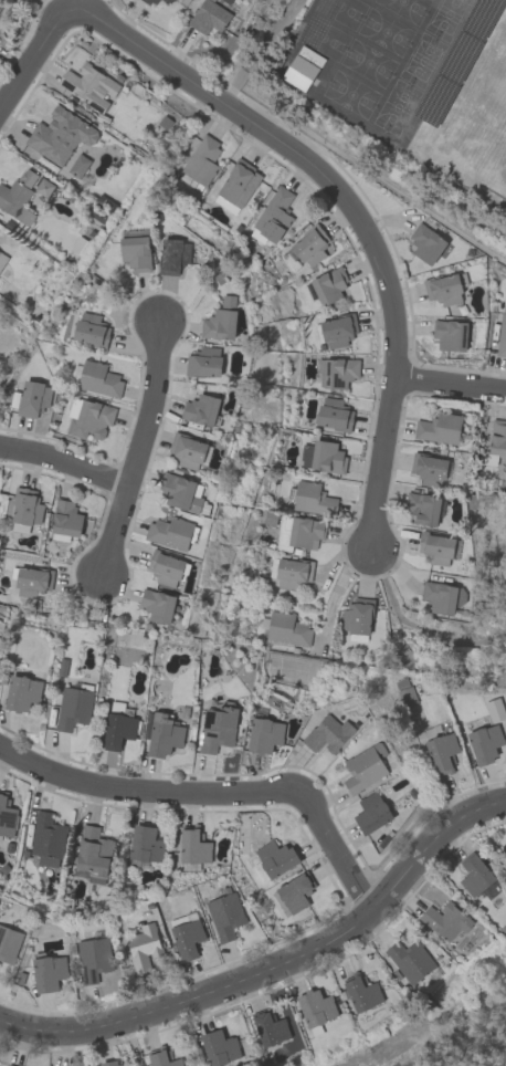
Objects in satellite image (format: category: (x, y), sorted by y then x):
building: (168, 0)
building: (150, 1)
building: (1, 3)
building: (209, 17)
road: (259, 48)
road: (33, 55)
building: (299, 72)
building: (89, 86)
building: (60, 135)
building: (201, 159)
building: (78, 166)
building: (239, 184)
building: (43, 187)
building: (18, 196)
road: (355, 212)
building: (274, 215)
building: (425, 243)
building: (310, 245)
building: (135, 252)
building: (173, 255)
building: (2, 259)
building: (328, 285)
building: (443, 290)
building: (228, 302)
building: (219, 325)
building: (91, 330)
building: (337, 331)
building: (450, 335)
building: (502, 335)
building: (204, 362)
building: (337, 372)
building: (98, 379)
road: (452, 385)
building: (33, 398)
building: (334, 415)
building: (89, 418)
building: (439, 428)
building: (498, 441)
road: (130, 447)
building: (188, 451)
building: (323, 457)
road: (61, 467)
building: (430, 470)
building: (182, 493)
building: (312, 499)
building: (25, 506)
building: (422, 508)
building: (65, 521)
building: (169, 533)
building: (436, 548)
building: (167, 569)
building: (292, 573)
building: (32, 582)
park: (488, 594)
building: (441, 597)
building: (157, 605)
building: (356, 616)
road: (423, 628)
building: (286, 629)
building: (401, 683)
building: (22, 692)
building: (405, 697)
building: (73, 708)
building: (217, 728)
building: (118, 730)
building: (328, 734)
building: (164, 735)
building: (264, 735)
building: (485, 743)
building: (441, 753)
building: (362, 770)
road: (218, 791)
building: (371, 813)
building: (7, 816)
building: (46, 839)
building: (145, 845)
building: (192, 848)
building: (92, 855)
building: (275, 858)
building: (474, 875)
building: (225, 916)
building: (445, 920)
building: (187, 938)
building: (9, 943)
building: (143, 947)
building: (93, 959)
road: (274, 961)
building: (410, 961)
building: (48, 972)
building: (362, 993)
building: (316, 1007)
building: (270, 1028)
park: (445, 1034)
building: (220, 1047)
building: (161, 1058)
building: (110, 1063)

